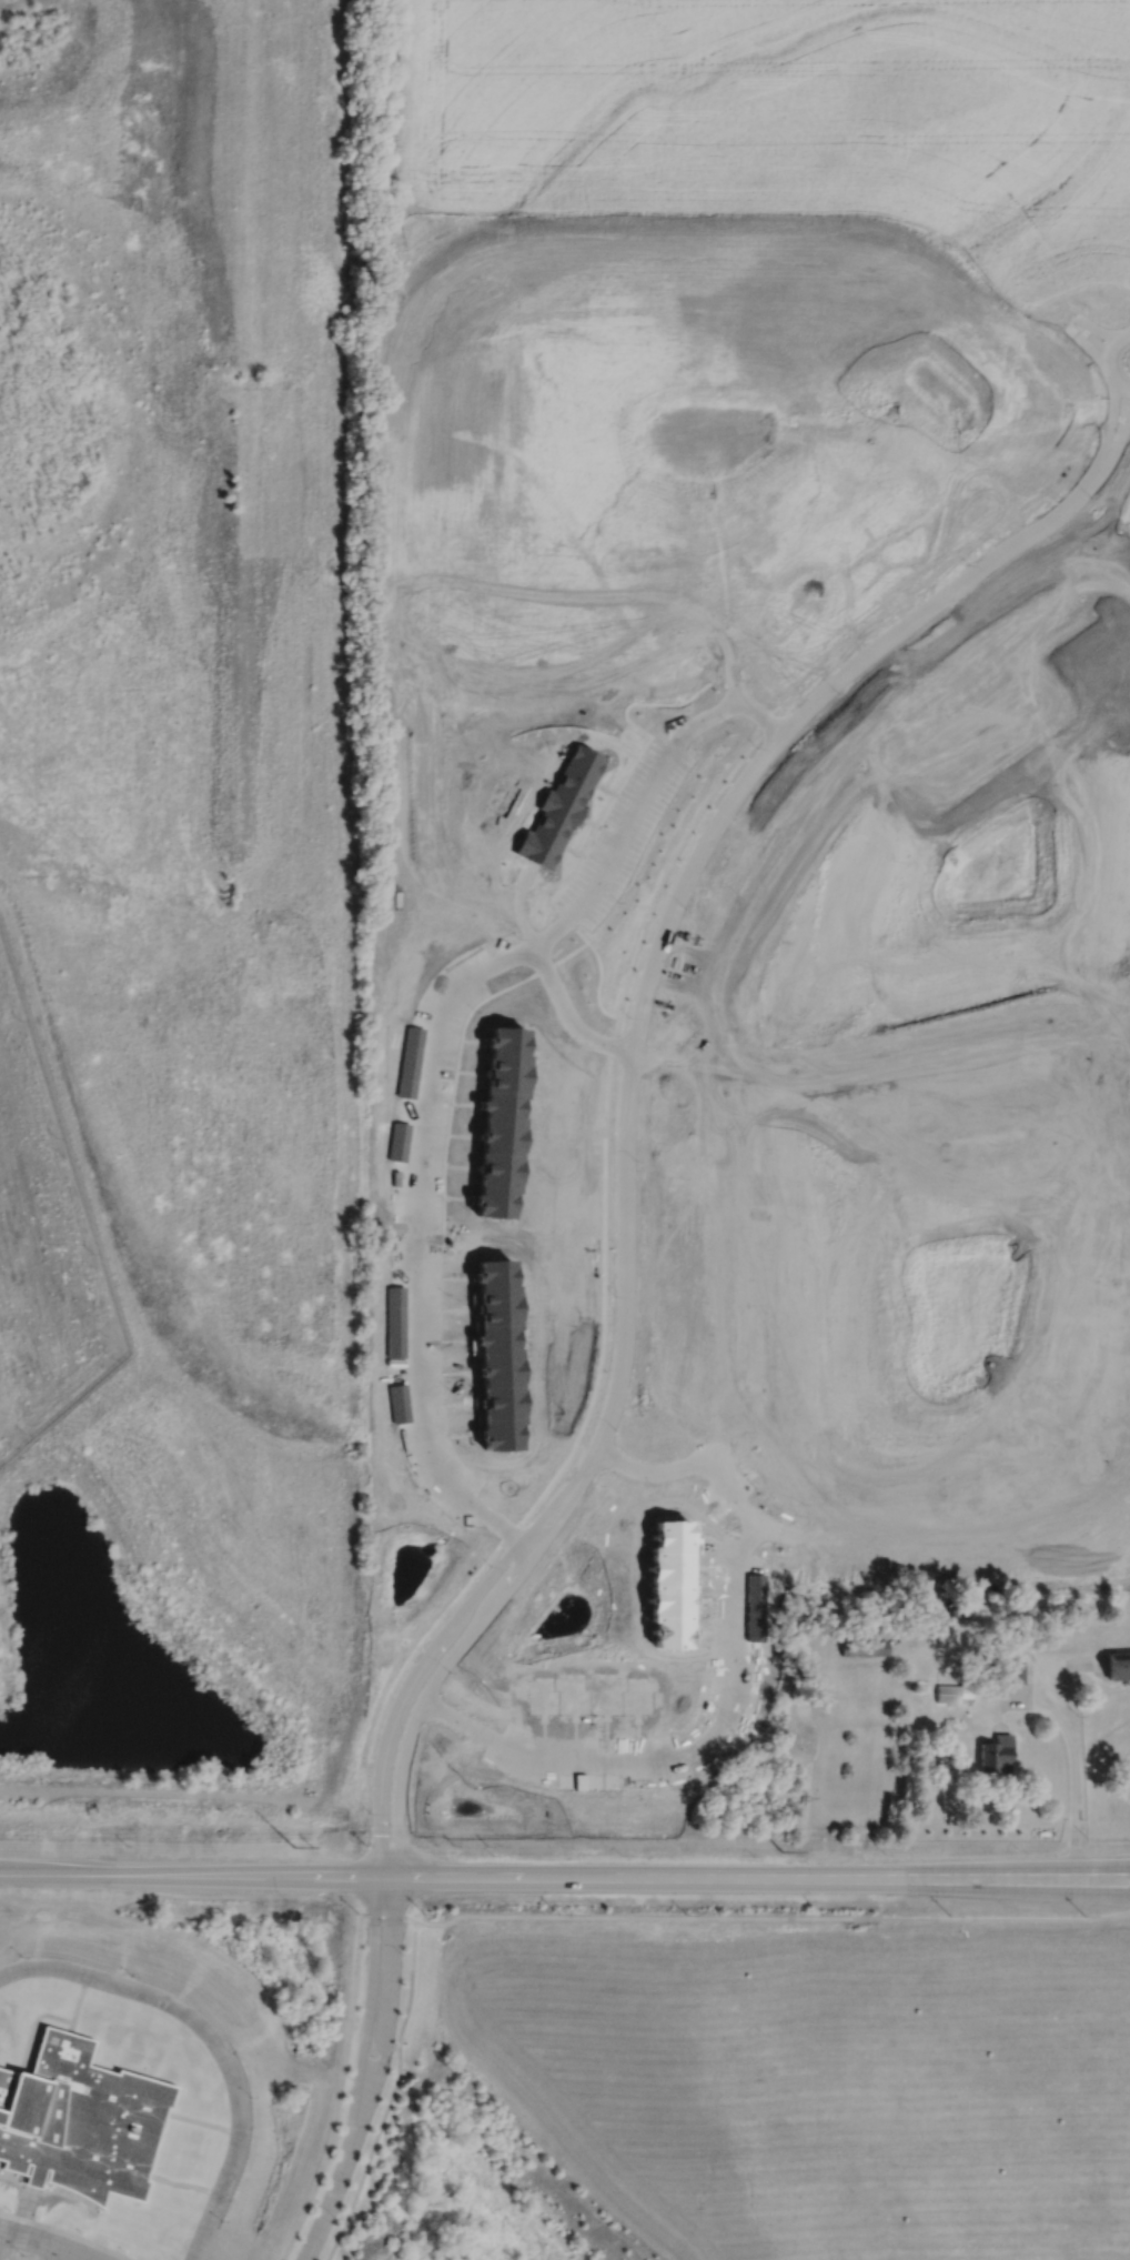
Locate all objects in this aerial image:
road: (1096, 329)
road: (1087, 343)
road: (1106, 361)
road: (1113, 414)
road: (1122, 433)
road: (761, 717)
road: (668, 917)
road: (567, 1011)
road: (427, 1075)
road: (911, 1115)
road: (707, 1224)
road: (653, 1469)
road: (985, 1538)
road: (734, 1597)
building: (864, 1647)
road: (1036, 1659)
road: (1073, 1664)
building: (1118, 1668)
building: (1015, 1670)
road: (1040, 1688)
building: (947, 1693)
road: (1023, 1704)
building: (995, 1754)
road: (545, 1756)
road: (1076, 1786)
dam: (161, 1792)
road: (375, 1820)
road: (397, 1831)
road: (859, 1851)
road: (1101, 1870)
road: (57, 1875)
road: (594, 1877)
road: (1100, 1889)
road: (390, 1916)
road: (771, 1917)
road: (81, 1997)
road: (32, 2023)
road: (72, 2025)
road: (213, 2038)
road: (340, 2092)
road: (393, 2096)
building: (82, 2119)
road: (203, 2122)
road: (185, 2182)
building: (36, 2183)
road: (28, 2203)
road: (327, 2206)
road: (11, 2216)
road: (78, 2237)
road: (2, 2238)
road: (47, 2242)
road: (47, 2251)
parking lot: (8, 2256)

